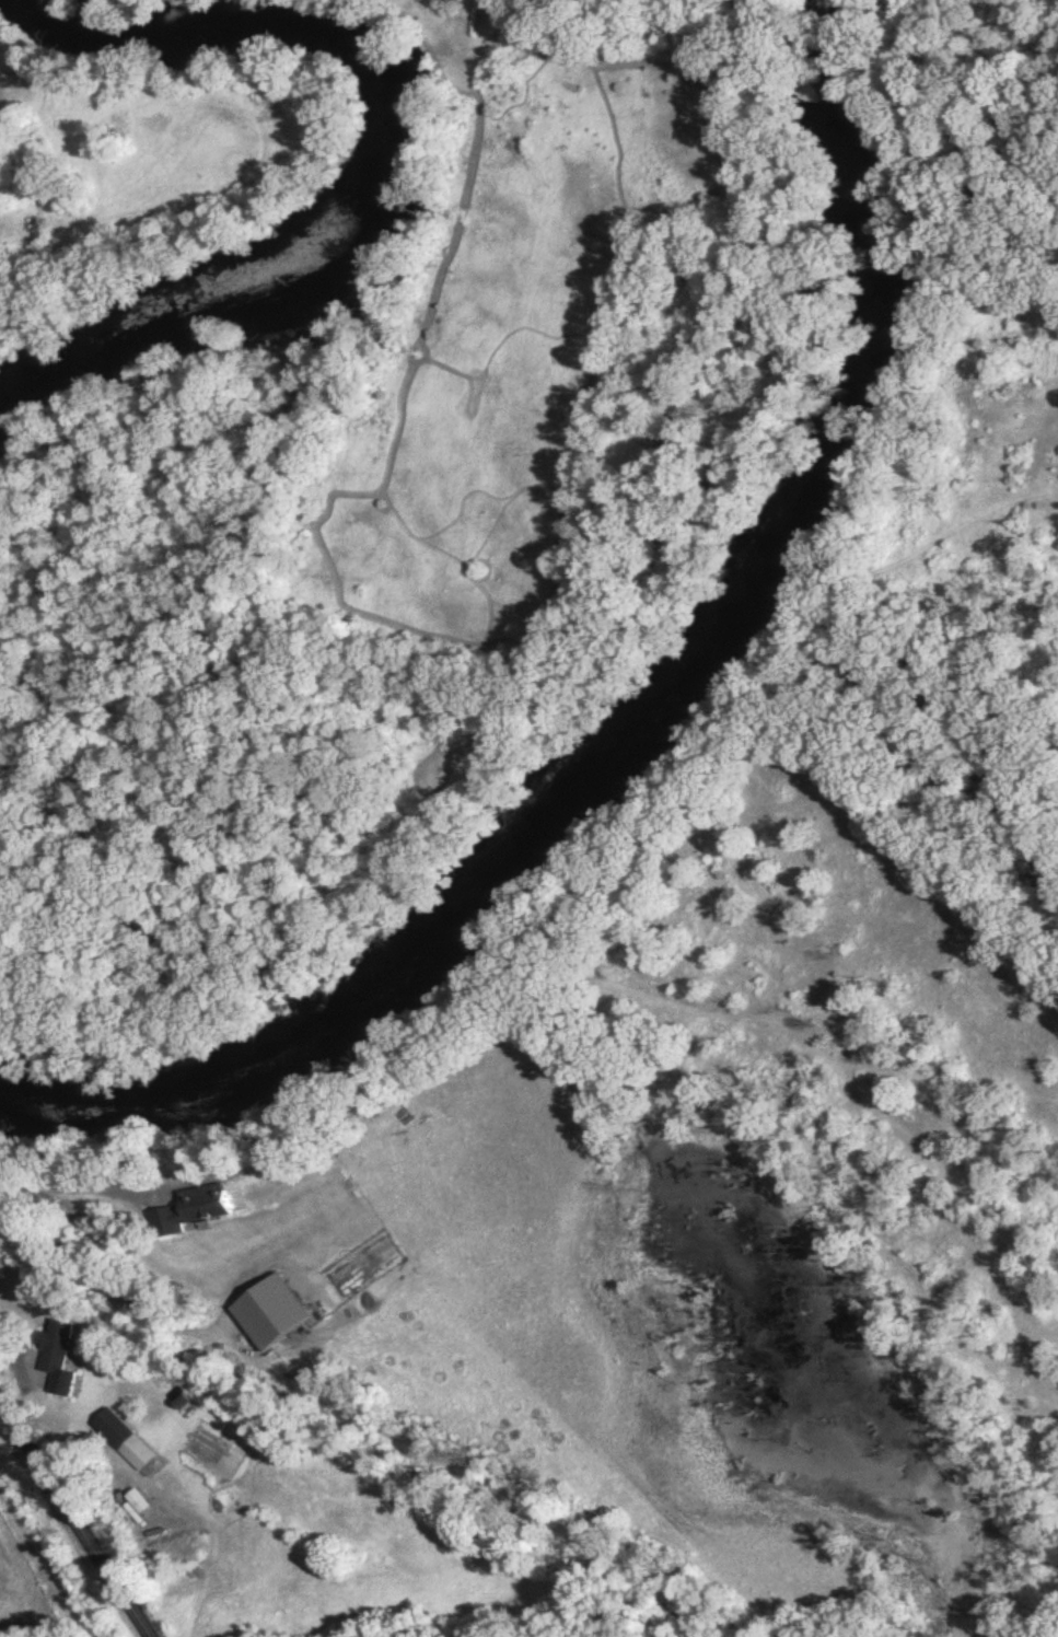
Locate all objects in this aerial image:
river: (380, 153)
river: (647, 722)
road: (78, 1185)
road: (13, 1339)
building: (55, 1362)
building: (121, 1443)
road: (74, 1523)

